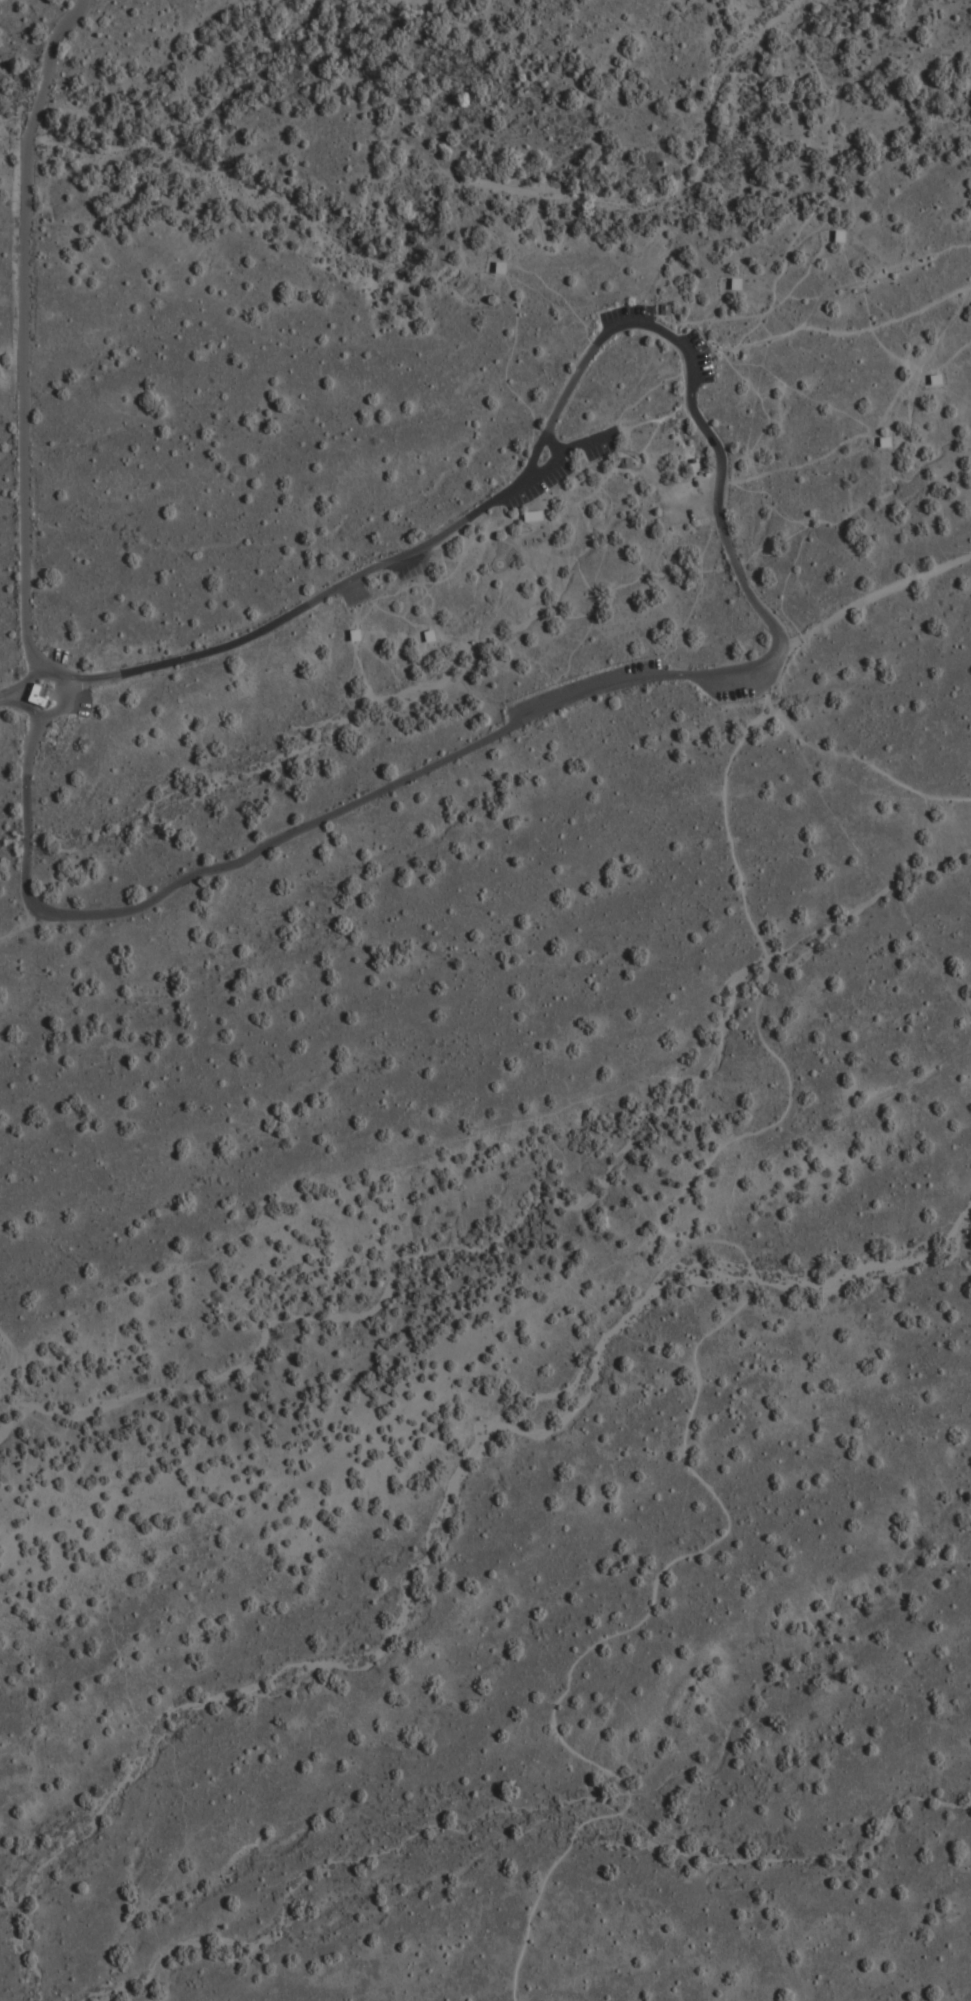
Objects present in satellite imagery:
road: (812, 215)
building: (668, 310)
parking lot: (624, 313)
road: (24, 329)
road: (831, 333)
parking lot: (696, 356)
road: (584, 442)
road: (543, 470)
parking lot: (554, 472)
parking lot: (687, 499)
parking lot: (410, 567)
parking lot: (353, 594)
road: (751, 597)
road: (871, 598)
parking lot: (57, 654)
parking lot: (584, 684)
parking lot: (735, 692)
building: (38, 697)
road: (1, 698)
road: (64, 703)
parking lot: (82, 703)
toll booth: (33, 704)
road: (845, 752)
park: (492, 996)
road: (8, 1353)
road: (698, 1354)

